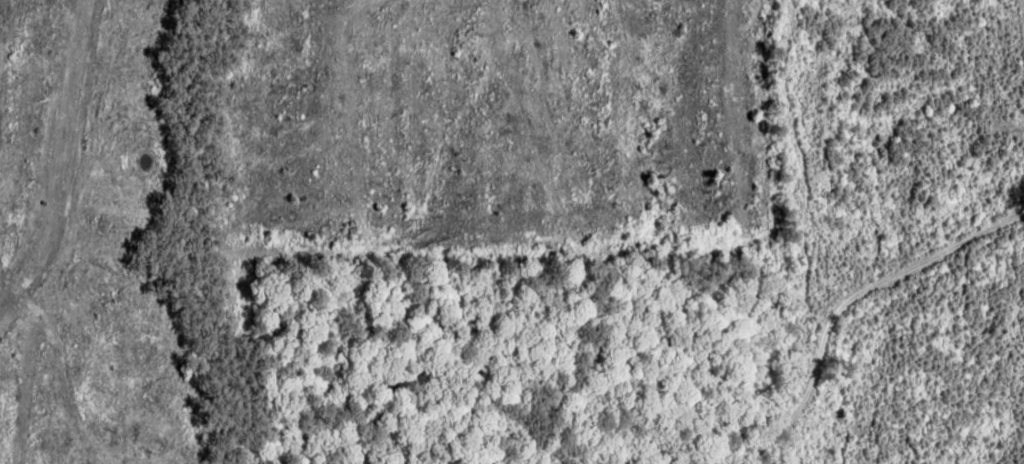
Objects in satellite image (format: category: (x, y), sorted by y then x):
road: (872, 331)

